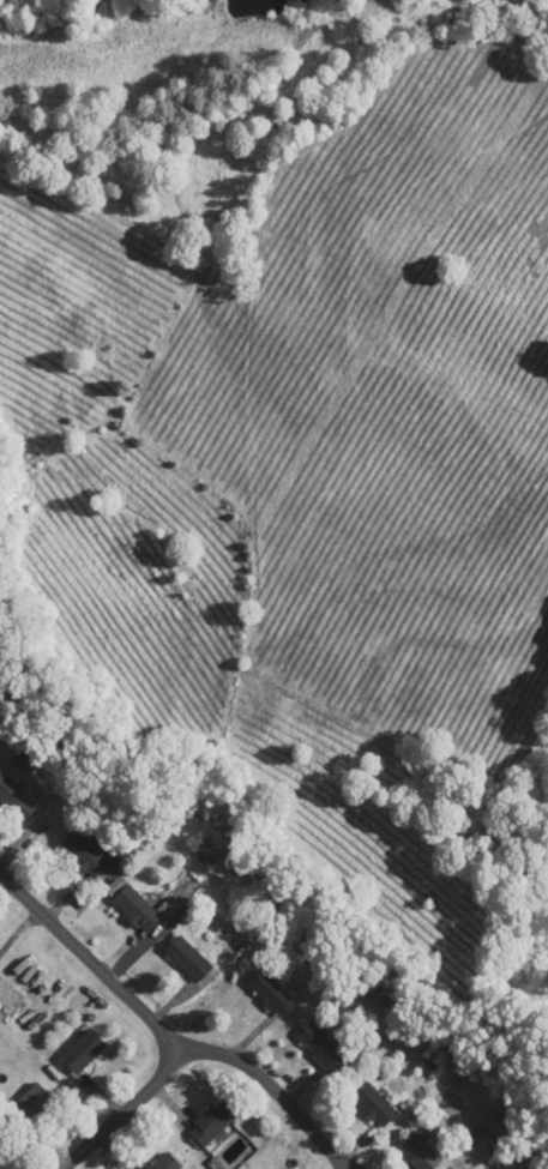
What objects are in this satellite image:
building: (16, 799)
building: (88, 851)
building: (210, 851)
building: (138, 909)
building: (189, 959)
road: (94, 963)
building: (272, 994)
building: (321, 1047)
building: (84, 1052)
road: (275, 1097)
building: (375, 1103)
building: (29, 1105)
road: (131, 1109)
building: (213, 1123)
building: (420, 1151)
building: (167, 1163)

